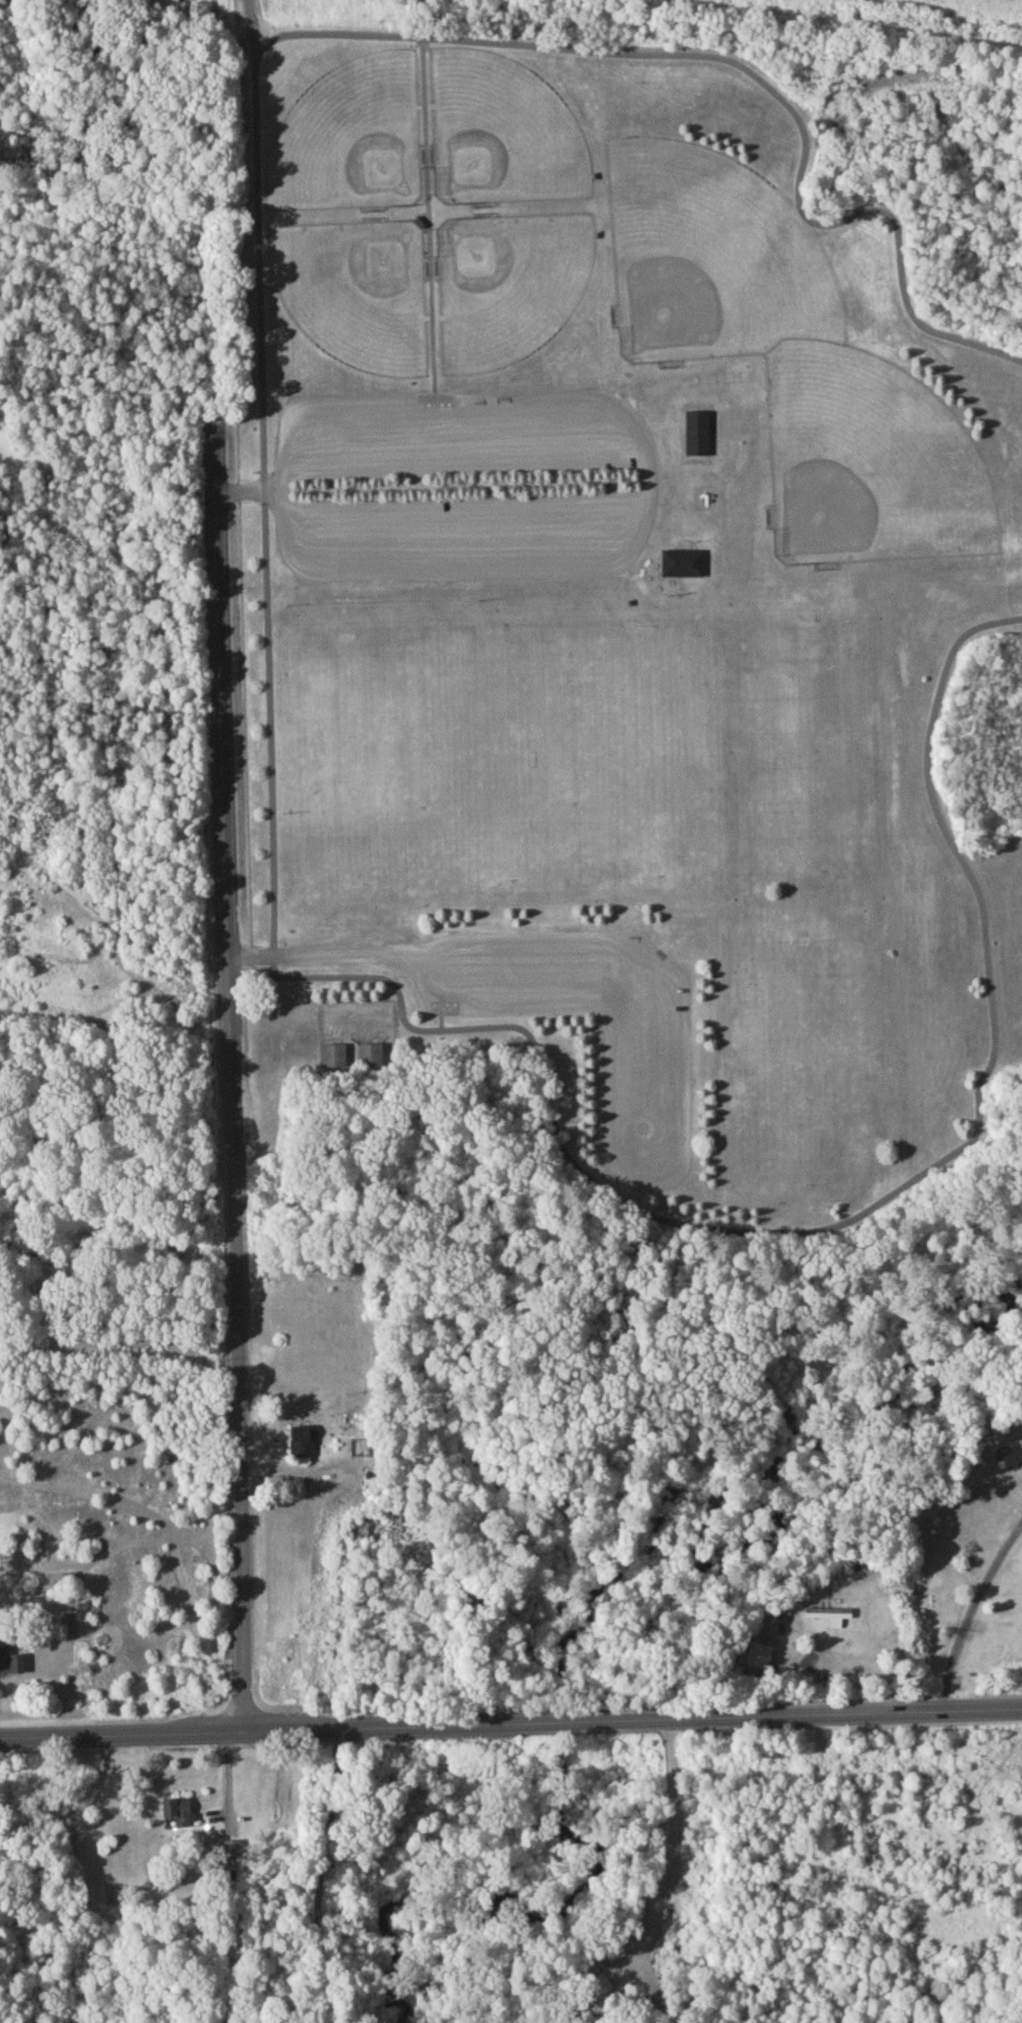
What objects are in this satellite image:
airport: (968, 7)
road: (742, 72)
park: (502, 138)
park: (349, 143)
park: (708, 262)
park: (507, 290)
park: (355, 295)
building: (698, 437)
park: (868, 468)
parking lot: (459, 482)
parking lot: (442, 487)
road: (263, 491)
building: (684, 567)
building: (369, 1060)
building: (333, 1061)
road: (229, 1072)
road: (834, 1227)
building: (303, 1445)
building: (1011, 1458)
building: (363, 1532)
building: (70, 1583)
road: (968, 1612)
building: (829, 1619)
road: (859, 1648)
building: (760, 1661)
building: (12, 1666)
road: (511, 1728)
building: (179, 1817)
building: (232, 1855)

